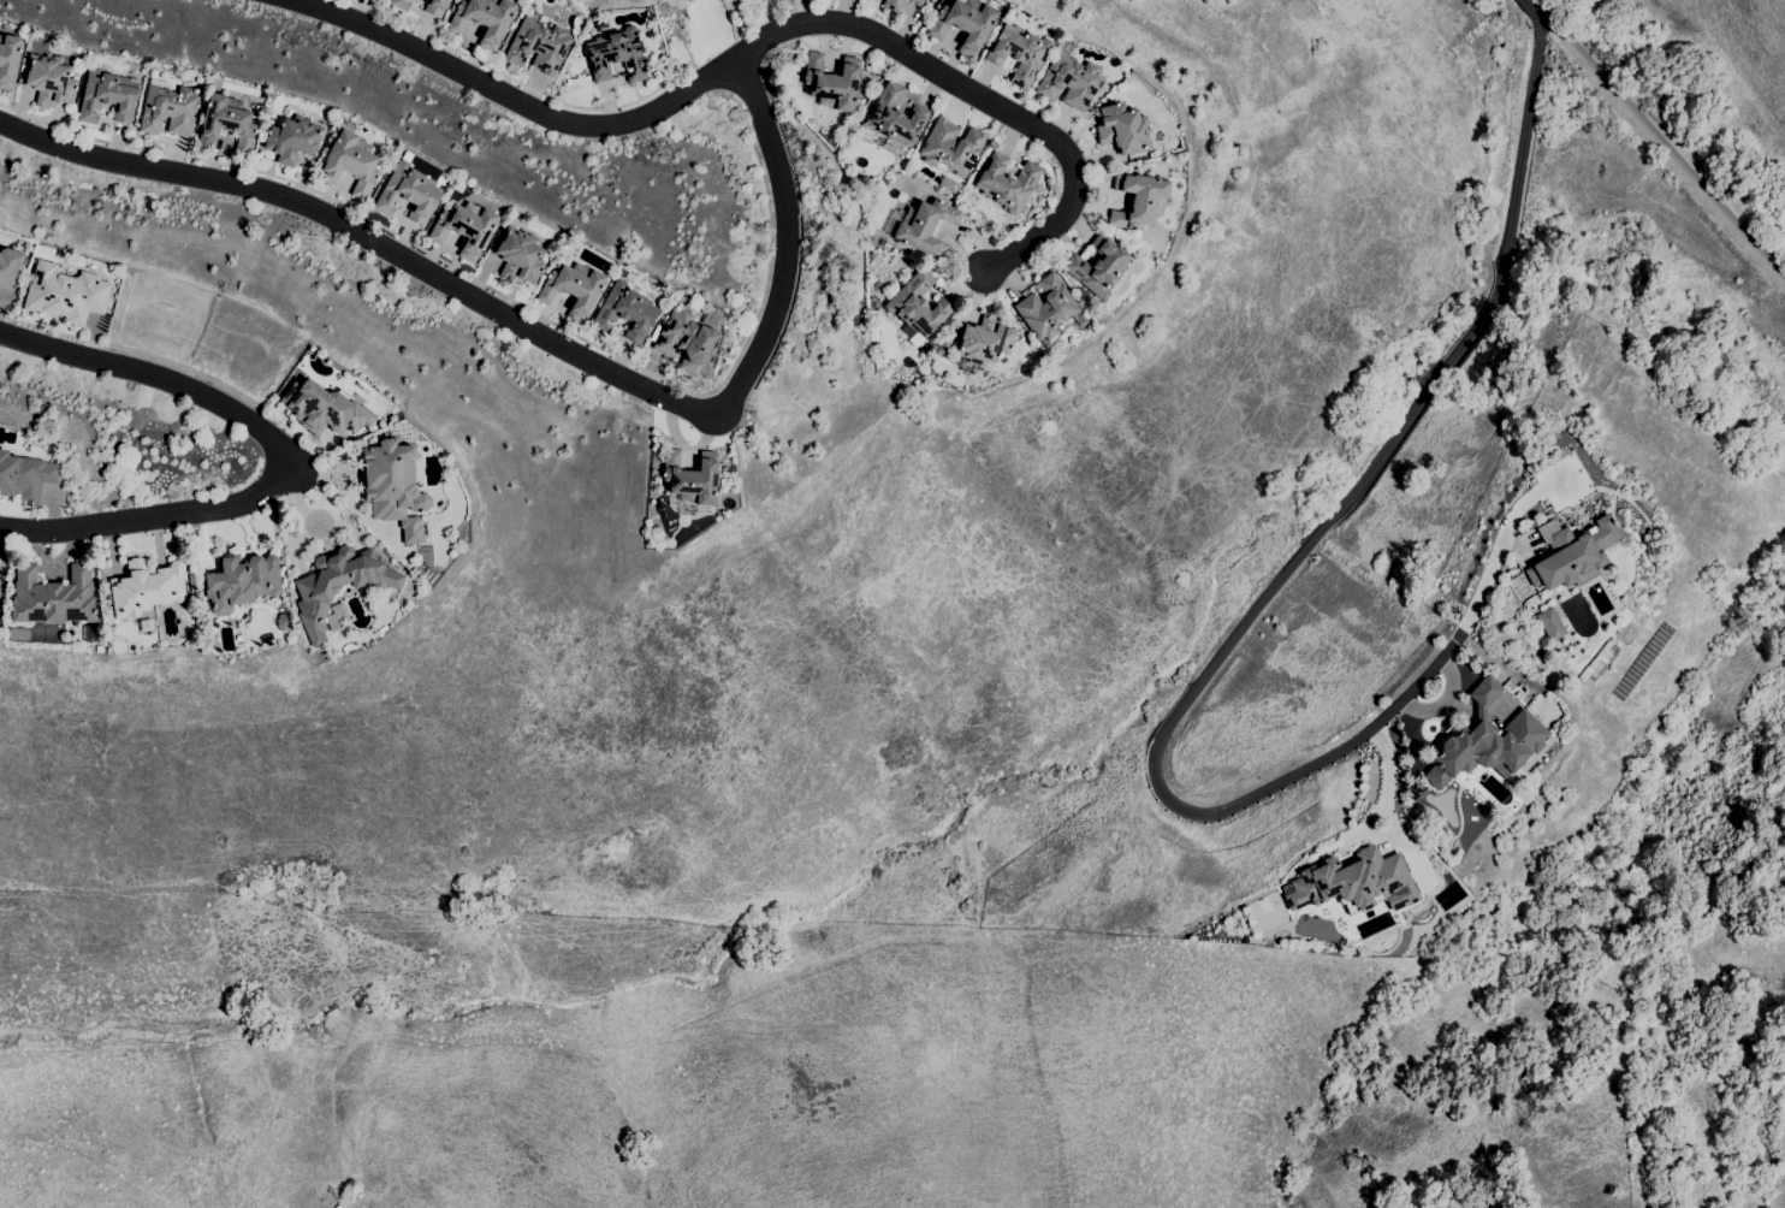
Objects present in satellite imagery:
building: (915, 1)
building: (401, 4)
building: (892, 5)
building: (435, 7)
building: (485, 19)
building: (966, 22)
park: (693, 29)
road: (761, 40)
building: (538, 46)
road: (688, 48)
building: (1020, 53)
building: (616, 54)
building: (8, 60)
building: (49, 81)
building: (1069, 81)
road: (517, 82)
building: (832, 82)
road: (737, 88)
building: (107, 96)
building: (168, 111)
building: (895, 116)
building: (226, 124)
building: (1123, 129)
building: (292, 140)
road: (1659, 141)
building: (951, 147)
building: (350, 164)
building: (1007, 183)
building: (410, 191)
building: (1139, 200)
building: (465, 227)
building: (925, 227)
building: (520, 256)
building: (8, 266)
building: (1099, 266)
building: (574, 289)
building: (66, 294)
road: (517, 302)
building: (918, 304)
building: (1046, 308)
building: (625, 312)
road: (539, 327)
building: (689, 338)
building: (984, 339)
road: (135, 354)
road: (137, 368)
building: (325, 408)
building: (25, 478)
building: (692, 478)
building: (395, 486)
road: (166, 514)
building: (1572, 553)
building: (242, 581)
building: (0, 582)
building: (338, 585)
building: (146, 587)
building: (53, 596)
building: (283, 622)
building: (146, 624)
building: (1550, 624)
road: (1228, 643)
building: (1487, 740)
building: (1354, 882)

